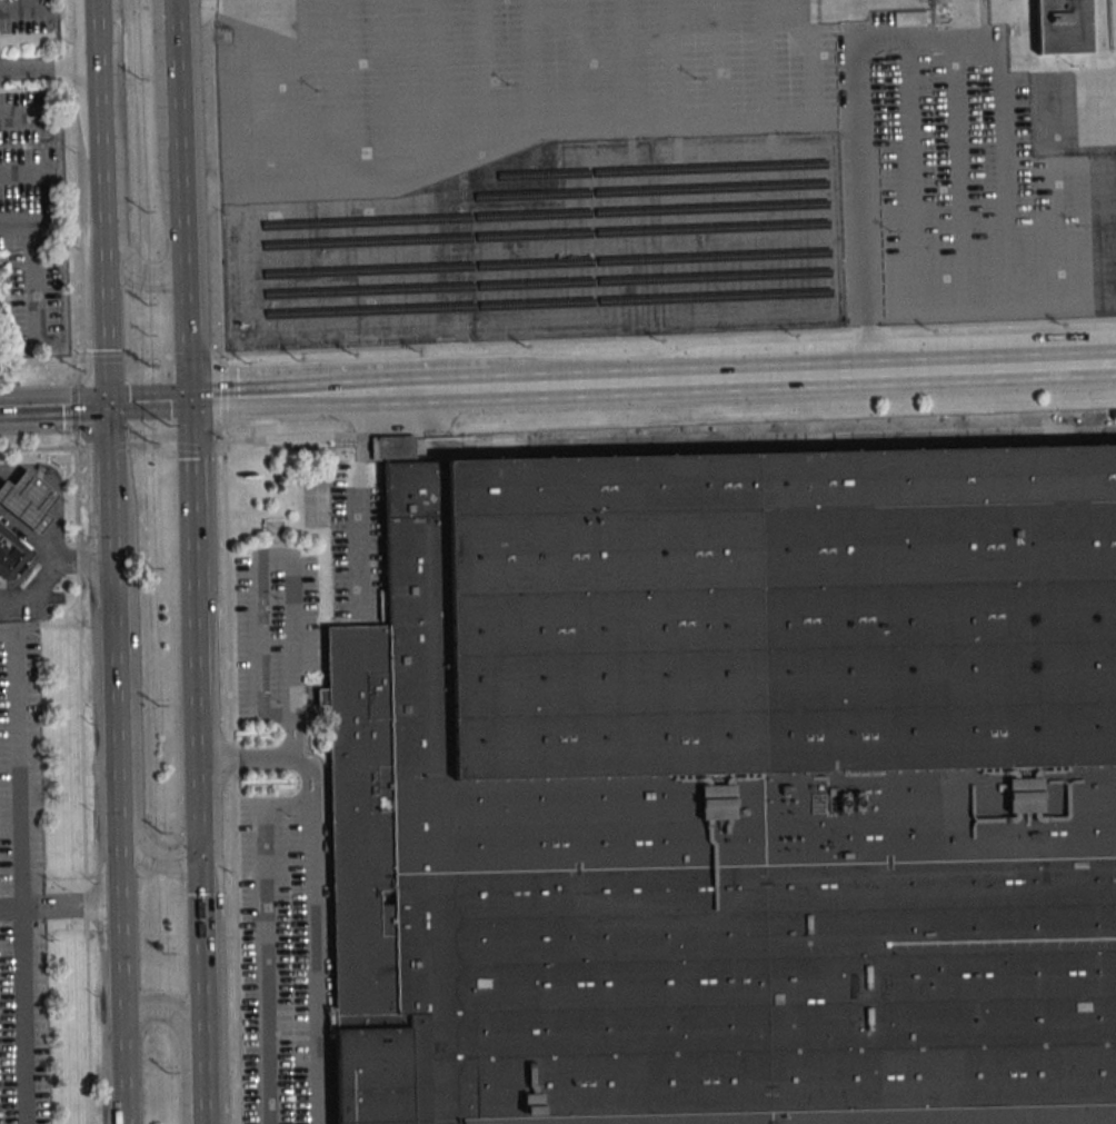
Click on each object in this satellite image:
road: (252, 1)
road: (24, 13)
road: (92, 19)
building: (1062, 26)
road: (47, 66)
road: (175, 73)
road: (997, 91)
road: (97, 131)
road: (509, 145)
road: (48, 158)
road: (217, 180)
road: (873, 207)
road: (177, 212)
road: (127, 271)
road: (34, 278)
road: (102, 316)
road: (662, 336)
road: (182, 342)
road: (145, 357)
road: (39, 360)
road: (804, 381)
road: (222, 394)
road: (427, 397)
road: (273, 402)
road: (146, 407)
traffic signals: (187, 407)
traffic signals: (106, 408)
road: (52, 409)
road: (73, 441)
road: (108, 485)
building: (28, 498)
road: (361, 500)
road: (28, 534)
building: (11, 553)
road: (188, 559)
road: (50, 569)
road: (290, 604)
road: (133, 684)
road: (114, 687)
road: (16, 764)
road: (231, 775)
road: (308, 777)
road: (191, 778)
building: (730, 792)
traffic signals: (192, 847)
road: (60, 906)
road: (267, 941)
road: (195, 951)
road: (315, 964)
road: (122, 967)
road: (171, 1013)
road: (198, 1088)

